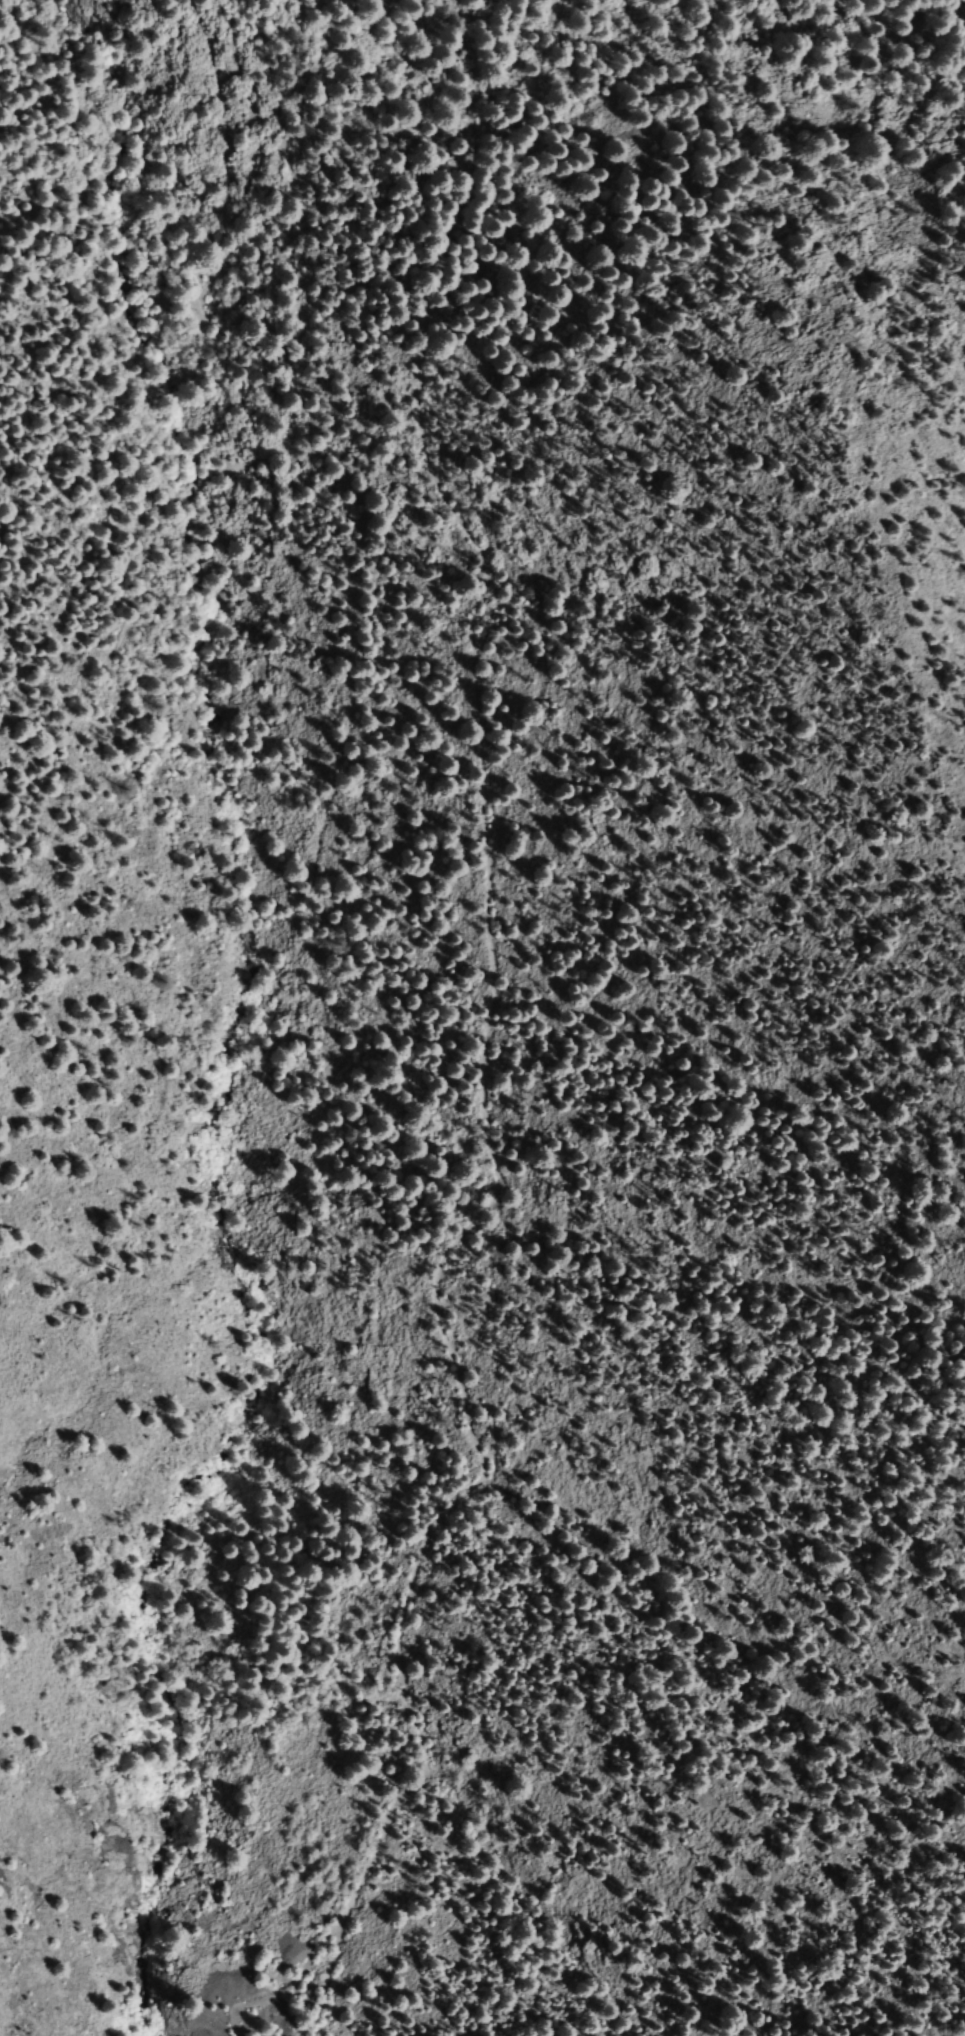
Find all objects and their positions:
road: (221, 113)
road: (478, 143)
road: (480, 1060)
road: (321, 1967)

